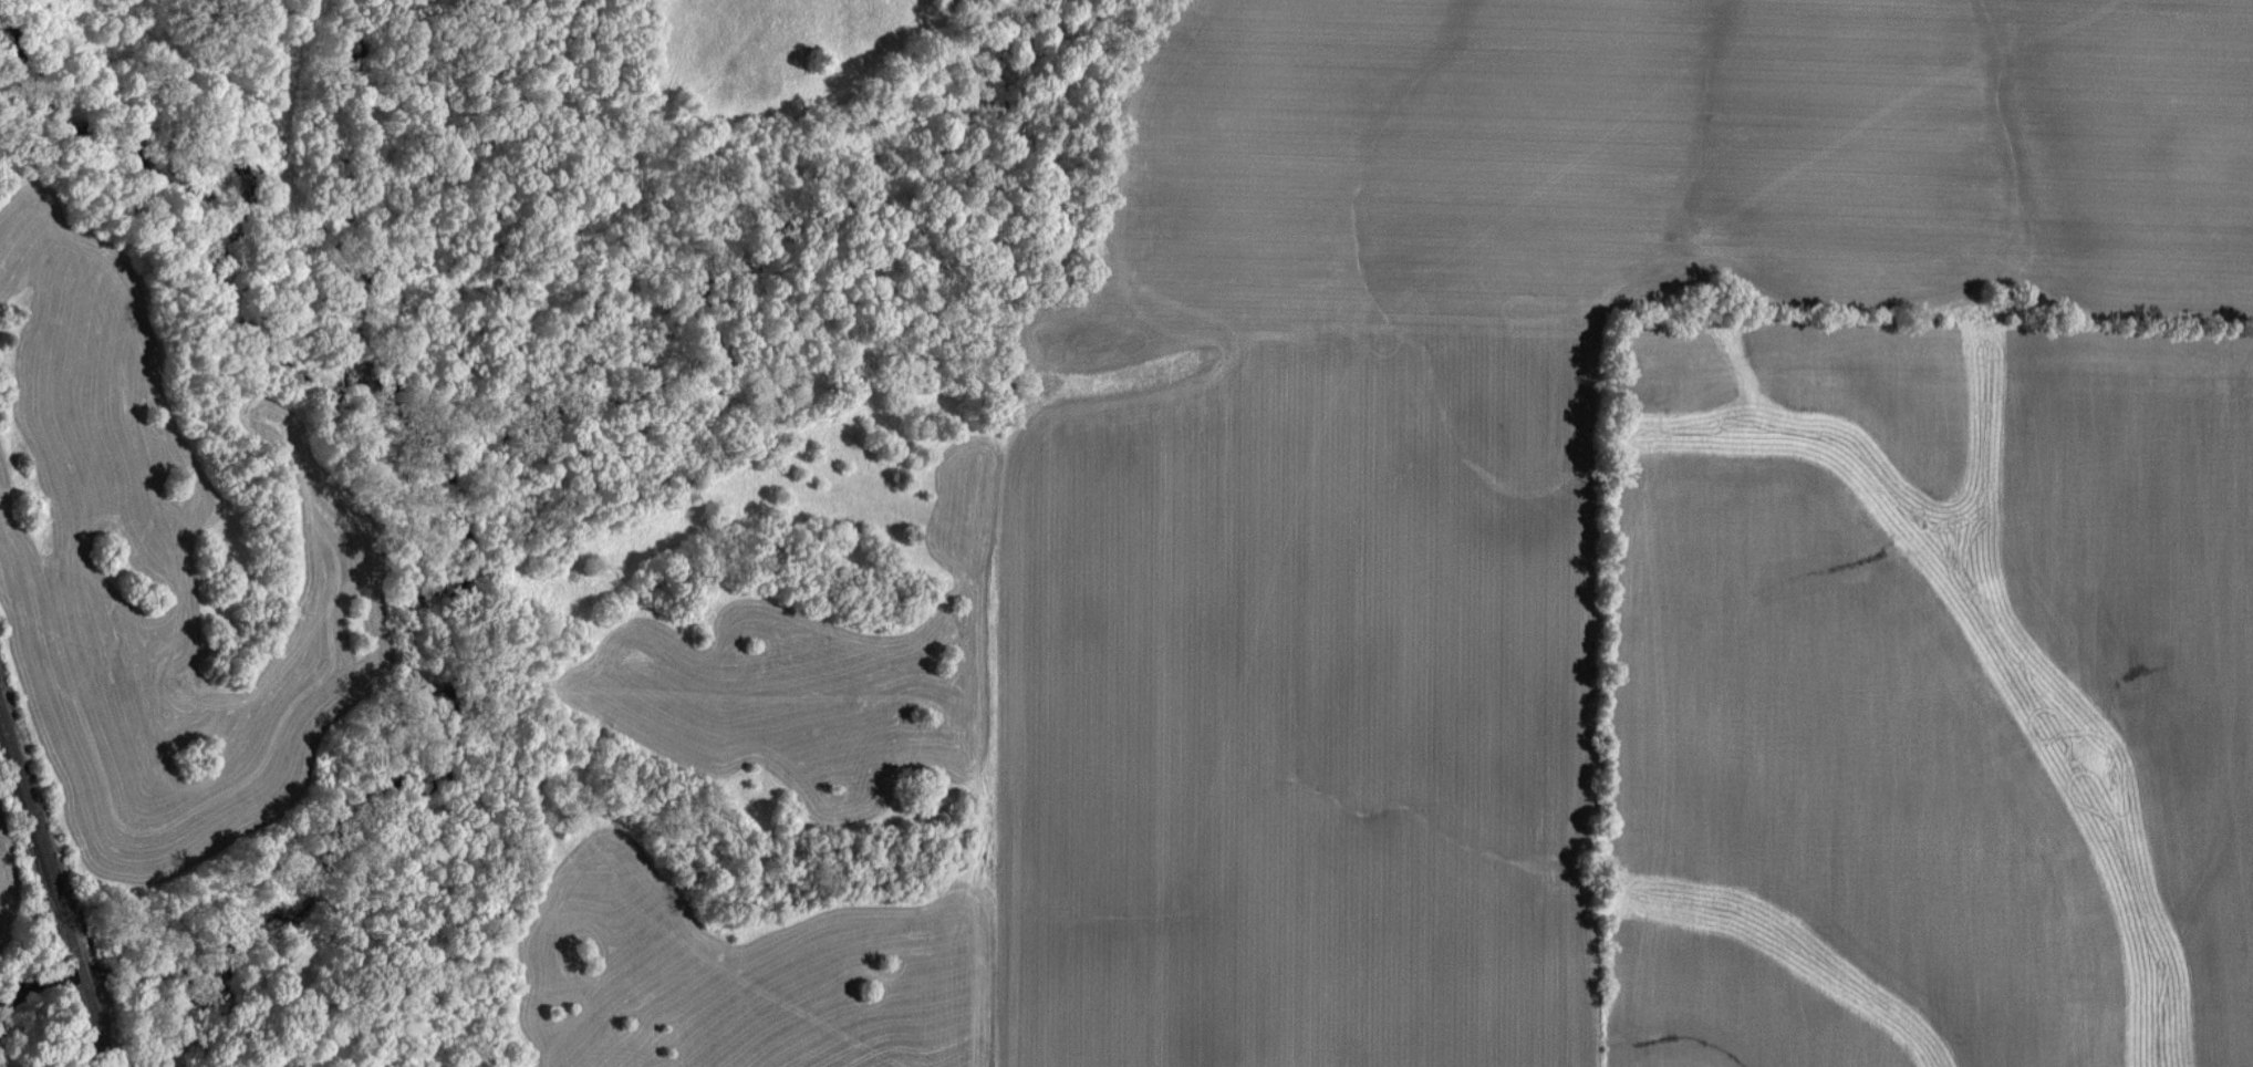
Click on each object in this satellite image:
railway: (42, 923)

